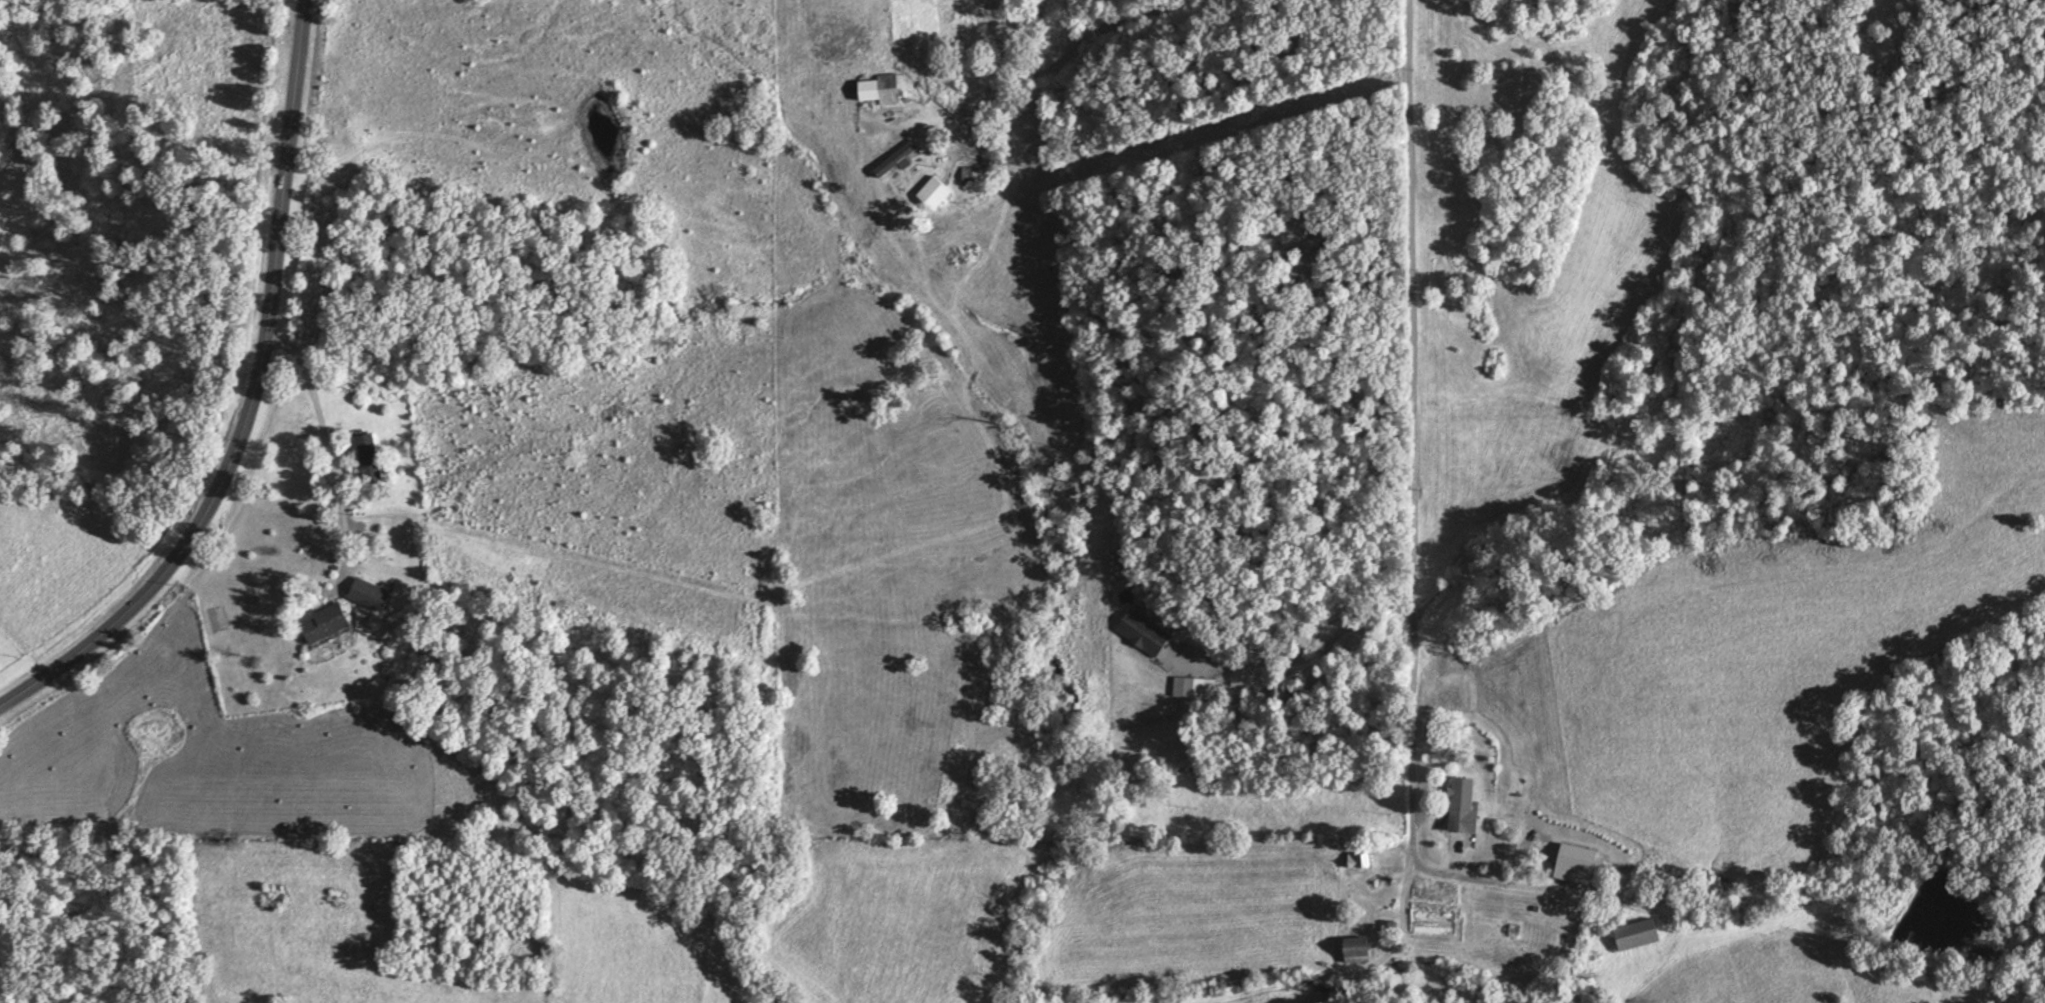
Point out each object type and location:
road: (1041, 65)
building: (880, 90)
building: (897, 159)
building: (1037, 164)
building: (970, 176)
road: (243, 403)
road: (1421, 410)
road: (322, 450)
building: (369, 459)
building: (370, 594)
building: (325, 622)
building: (1143, 633)
building: (1194, 688)
building: (1462, 793)
building: (1362, 861)
road: (1466, 881)
building: (1637, 934)
building: (1358, 951)

